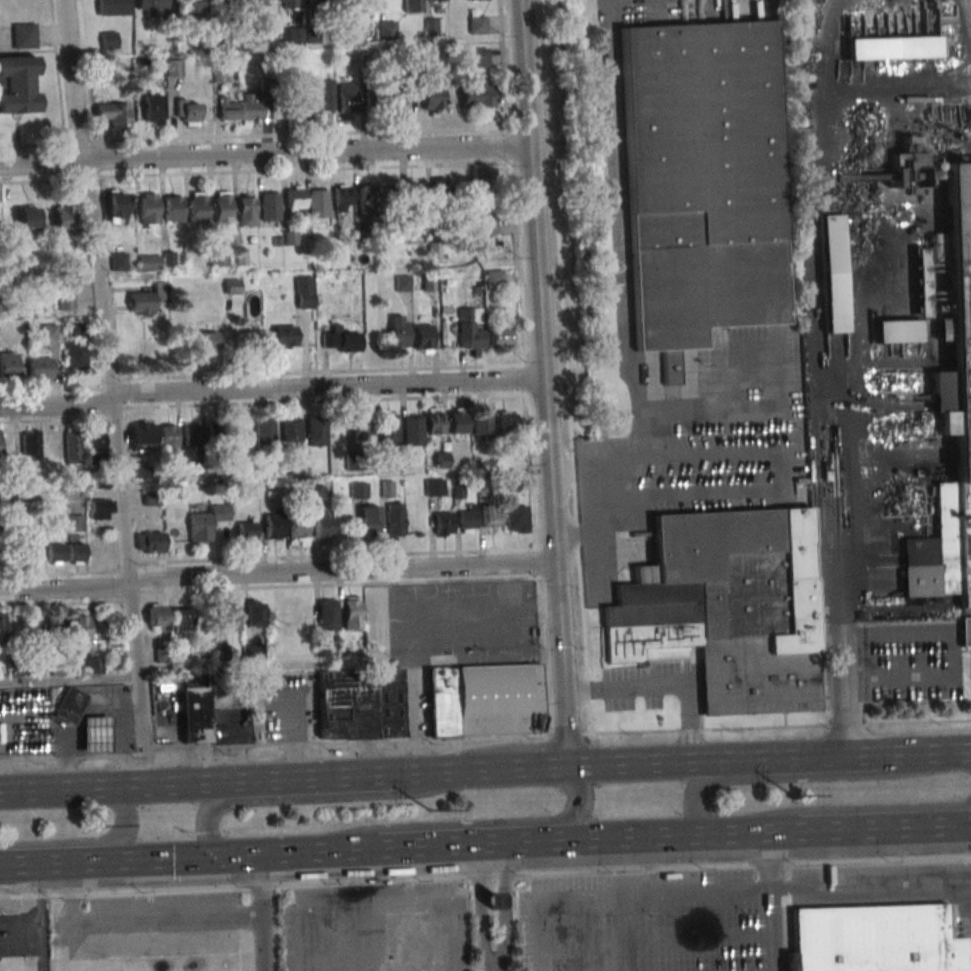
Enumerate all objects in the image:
building: (436, 0)
building: (477, 0)
building: (315, 1)
building: (267, 2)
building: (243, 3)
building: (288, 4)
building: (150, 6)
building: (195, 6)
building: (219, 6)
building: (413, 6)
building: (113, 7)
building: (477, 24)
building: (434, 26)
building: (386, 30)
building: (291, 35)
building: (24, 36)
building: (108, 40)
building: (478, 57)
building: (174, 67)
road: (525, 72)
building: (18, 84)
building: (478, 94)
building: (346, 97)
building: (372, 97)
building: (432, 98)
building: (397, 101)
building: (314, 102)
building: (152, 108)
building: (227, 109)
building: (250, 109)
building: (188, 112)
building: (114, 114)
road: (264, 153)
building: (908, 153)
building: (936, 175)
building: (701, 183)
building: (437, 192)
building: (412, 193)
building: (484, 193)
building: (295, 198)
building: (343, 198)
building: (365, 198)
building: (317, 203)
building: (117, 205)
building: (148, 206)
building: (269, 206)
building: (172, 207)
building: (220, 208)
building: (197, 209)
building: (245, 211)
building: (28, 217)
building: (63, 218)
building: (487, 225)
building: (219, 258)
building: (119, 262)
building: (150, 262)
building: (919, 271)
building: (831, 273)
building: (402, 283)
road: (100, 292)
building: (304, 292)
building: (65, 295)
building: (148, 299)
building: (469, 328)
building: (76, 329)
building: (49, 331)
building: (897, 331)
building: (398, 333)
building: (285, 336)
building: (423, 336)
building: (500, 339)
building: (206, 340)
building: (341, 341)
building: (76, 356)
building: (7, 365)
building: (40, 370)
road: (271, 387)
road: (711, 414)
building: (951, 419)
building: (434, 421)
building: (458, 421)
building: (508, 421)
building: (361, 424)
building: (482, 424)
building: (389, 427)
building: (292, 429)
building: (264, 430)
building: (316, 430)
building: (413, 430)
building: (192, 434)
building: (218, 434)
building: (143, 436)
building: (168, 439)
building: (94, 443)
building: (30, 445)
building: (72, 445)
road: (638, 448)
road: (551, 455)
building: (443, 459)
road: (623, 478)
building: (434, 487)
building: (387, 489)
building: (359, 490)
building: (151, 498)
building: (100, 509)
building: (491, 518)
building: (397, 519)
building: (516, 519)
building: (468, 520)
building: (370, 521)
building: (207, 522)
building: (440, 522)
building: (75, 523)
building: (323, 524)
building: (274, 526)
building: (298, 528)
building: (246, 531)
road: (429, 536)
building: (150, 542)
building: (34, 550)
building: (55, 553)
building: (75, 553)
road: (278, 574)
road: (845, 585)
building: (726, 606)
building: (255, 613)
building: (328, 614)
building: (352, 614)
building: (157, 617)
building: (232, 617)
building: (183, 622)
building: (55, 624)
building: (2, 625)
building: (78, 625)
building: (965, 632)
road: (951, 663)
building: (93, 664)
road: (68, 679)
road: (137, 685)
road: (664, 686)
building: (485, 699)
building: (360, 704)
building: (68, 706)
building: (194, 714)
building: (93, 734)
road: (485, 737)
road: (970, 752)
road: (934, 753)
road: (830, 756)
road: (665, 763)
road: (475, 770)
road: (800, 776)
road: (323, 777)
road: (131, 786)
power tower: (792, 796)
road: (580, 804)
road: (212, 806)
road: (853, 808)
power tower: (429, 813)
road: (938, 826)
power tower: (102, 828)
road: (856, 828)
road: (769, 831)
road: (645, 836)
road: (86, 841)
road: (477, 843)
road: (376, 849)
road: (347, 850)
road: (277, 852)
traffic signals: (218, 856)
road: (179, 857)
road: (110, 860)
road: (39, 862)
road: (485, 874)
road: (73, 886)
road: (716, 893)
road: (481, 899)
road: (502, 901)
road: (771, 901)
road: (260, 912)
road: (40, 916)
parking lot: (641, 922)
road: (653, 937)
building: (874, 939)
road: (68, 941)
road: (494, 970)

